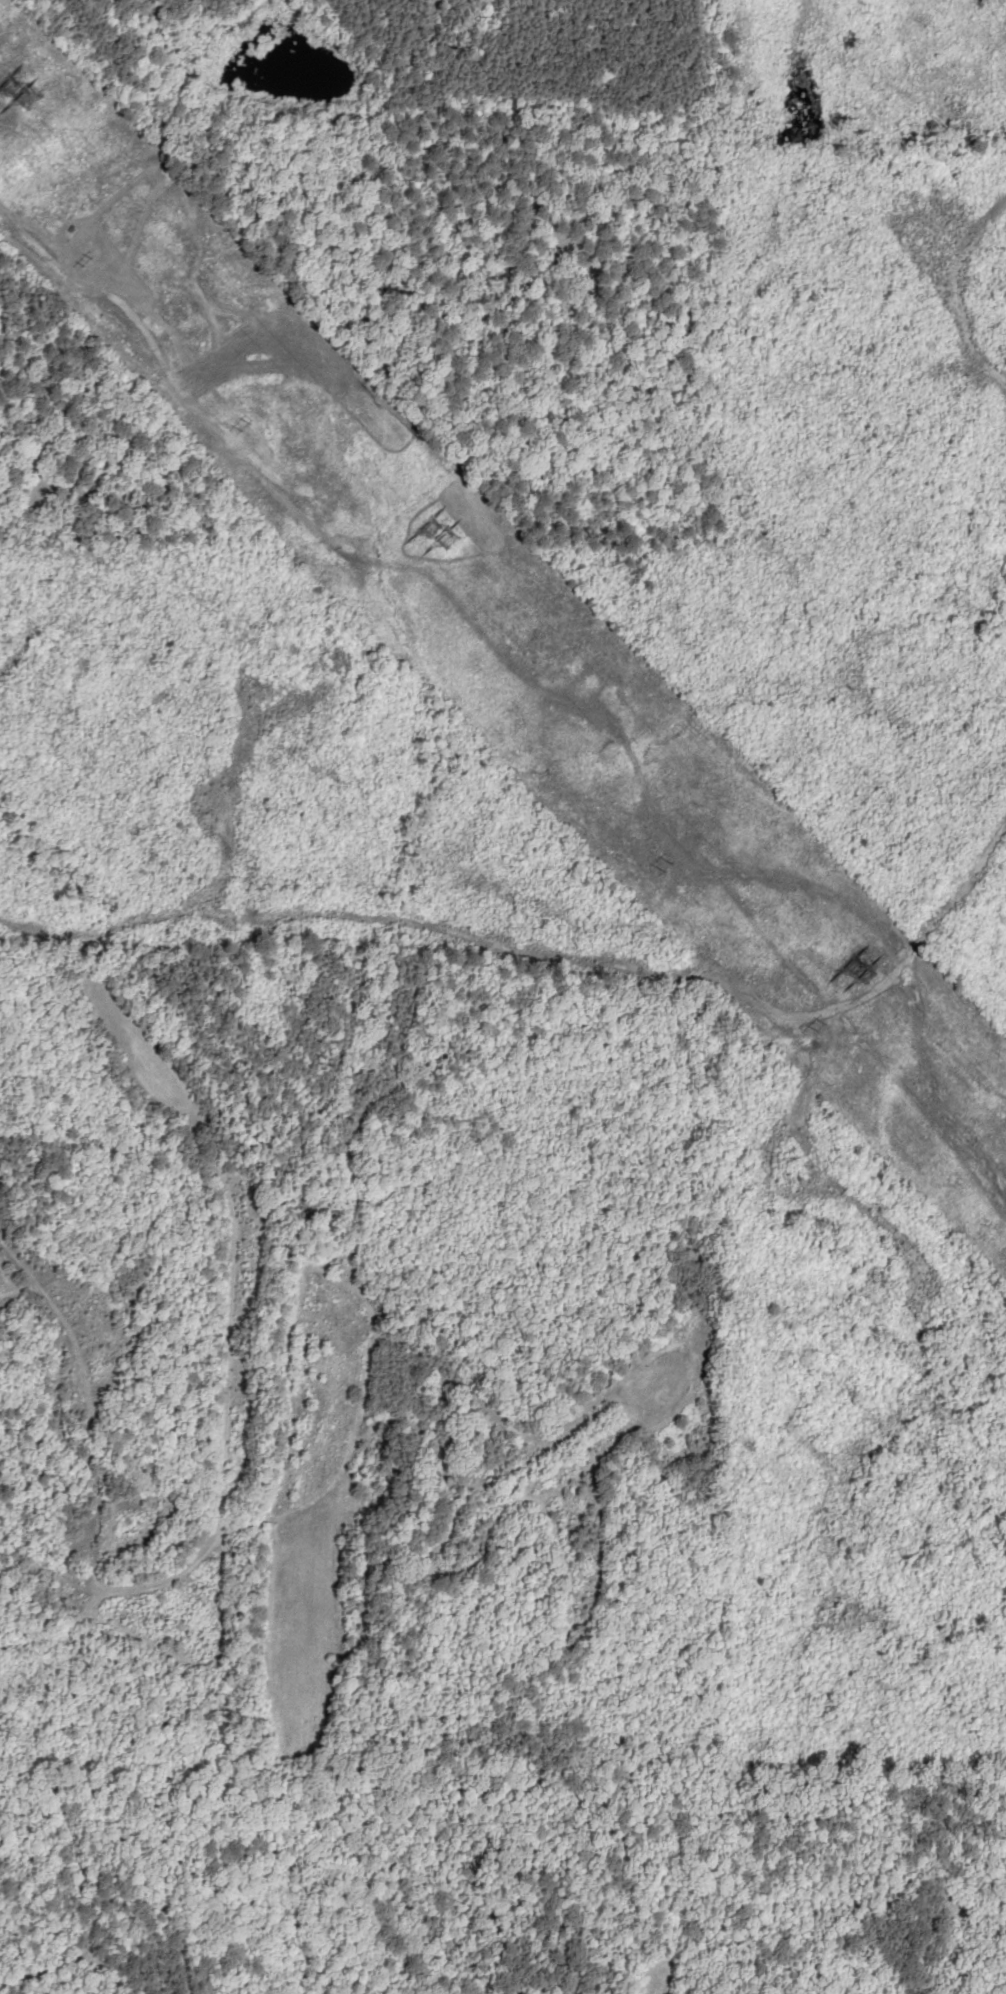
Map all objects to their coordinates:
power tower: (5, 95)
power tower: (90, 260)
power tower: (247, 425)
power tower: (434, 537)
power tower: (671, 867)
power tower: (851, 974)
power tower: (821, 1028)

